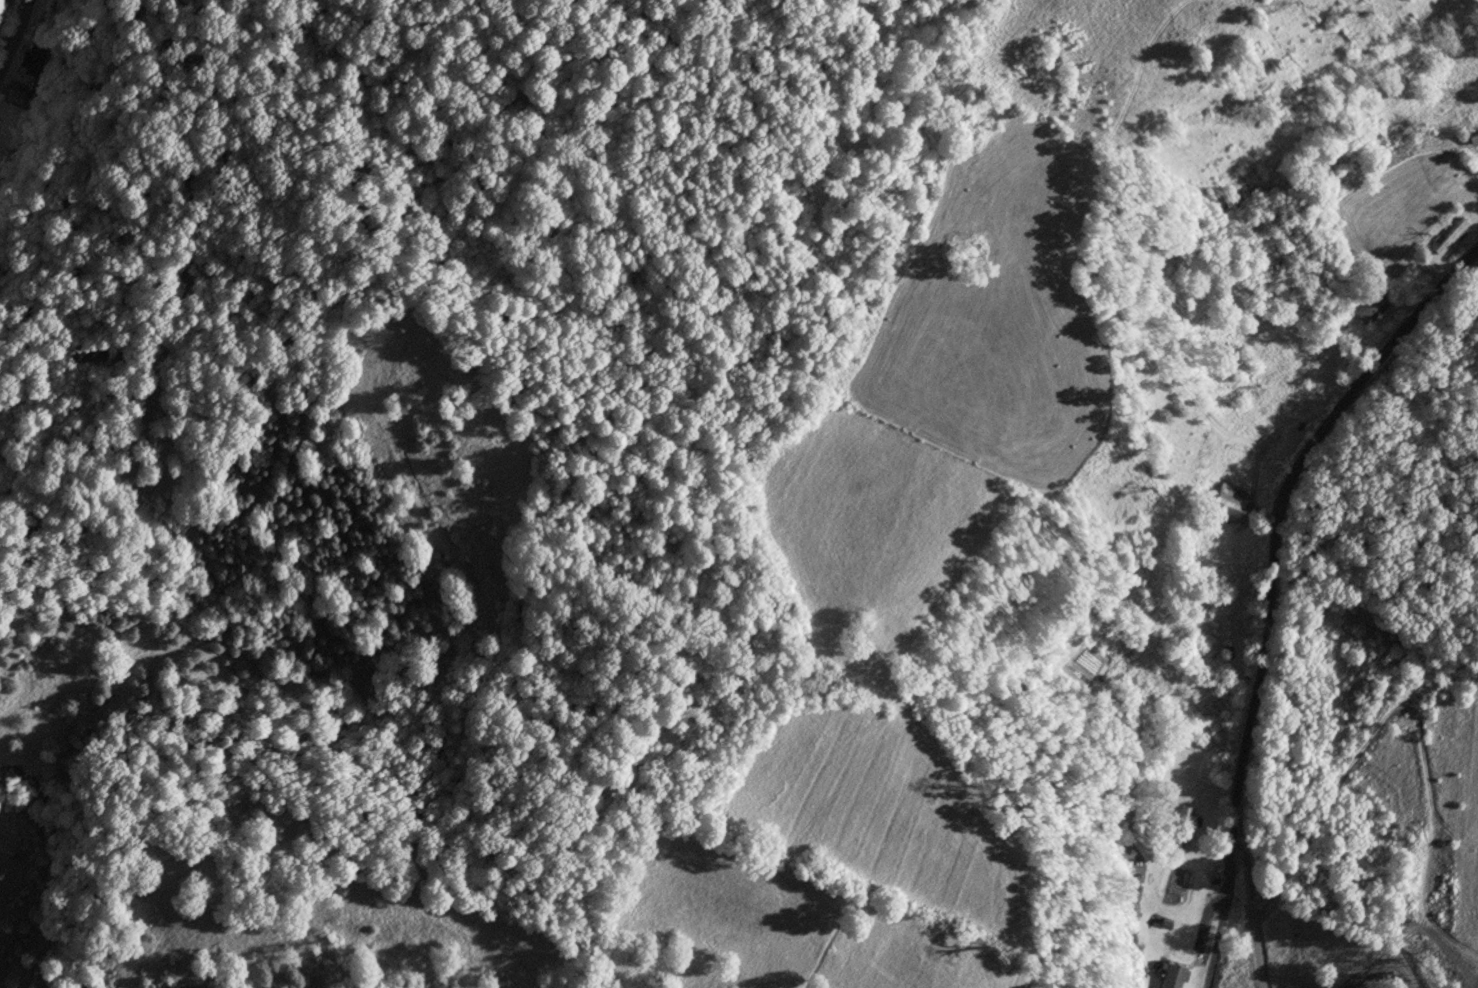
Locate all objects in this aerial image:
road: (15, 35)
building: (40, 62)
building: (20, 96)
building: (1453, 237)
building: (1373, 309)
building: (1325, 320)
building: (1334, 357)
building: (1228, 503)
road: (1274, 587)
road: (1413, 712)
building: (1183, 828)
building: (1134, 914)
building: (1174, 976)

